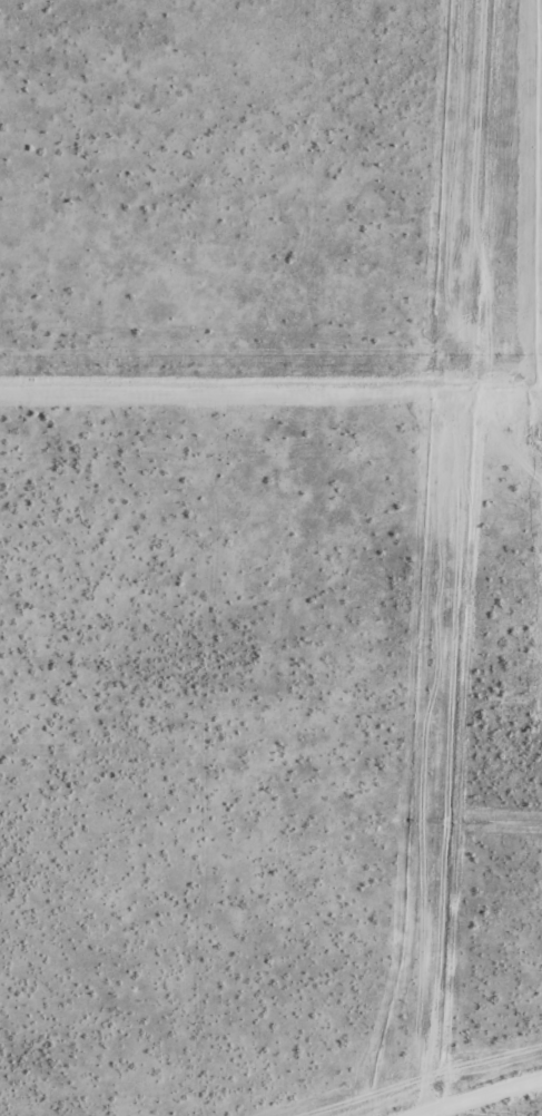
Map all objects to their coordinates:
road: (485, 1097)

